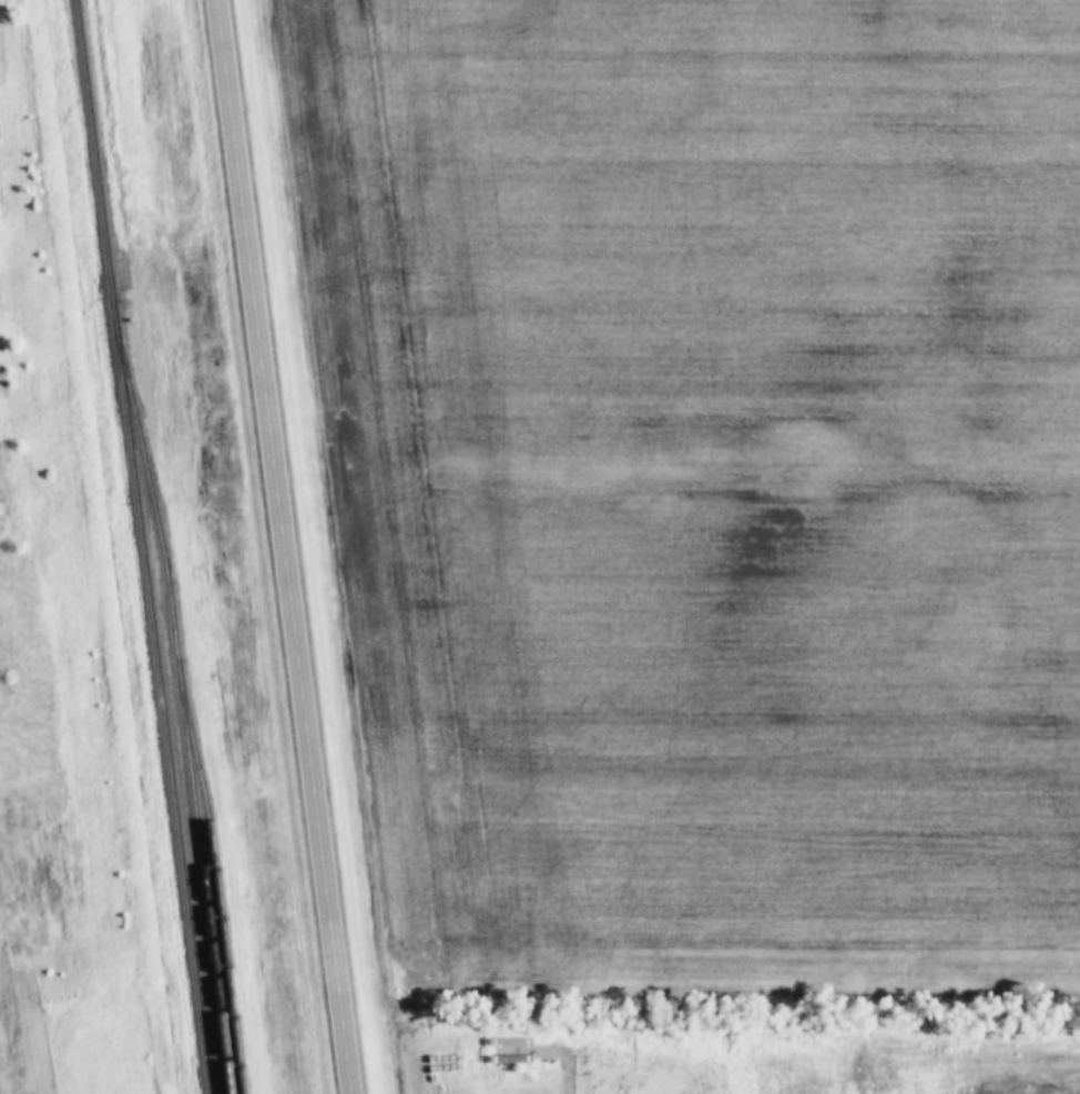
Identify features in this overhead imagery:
crop: (703, 484)
railway: (139, 546)
road: (283, 546)
railway: (179, 701)
railway: (214, 877)

